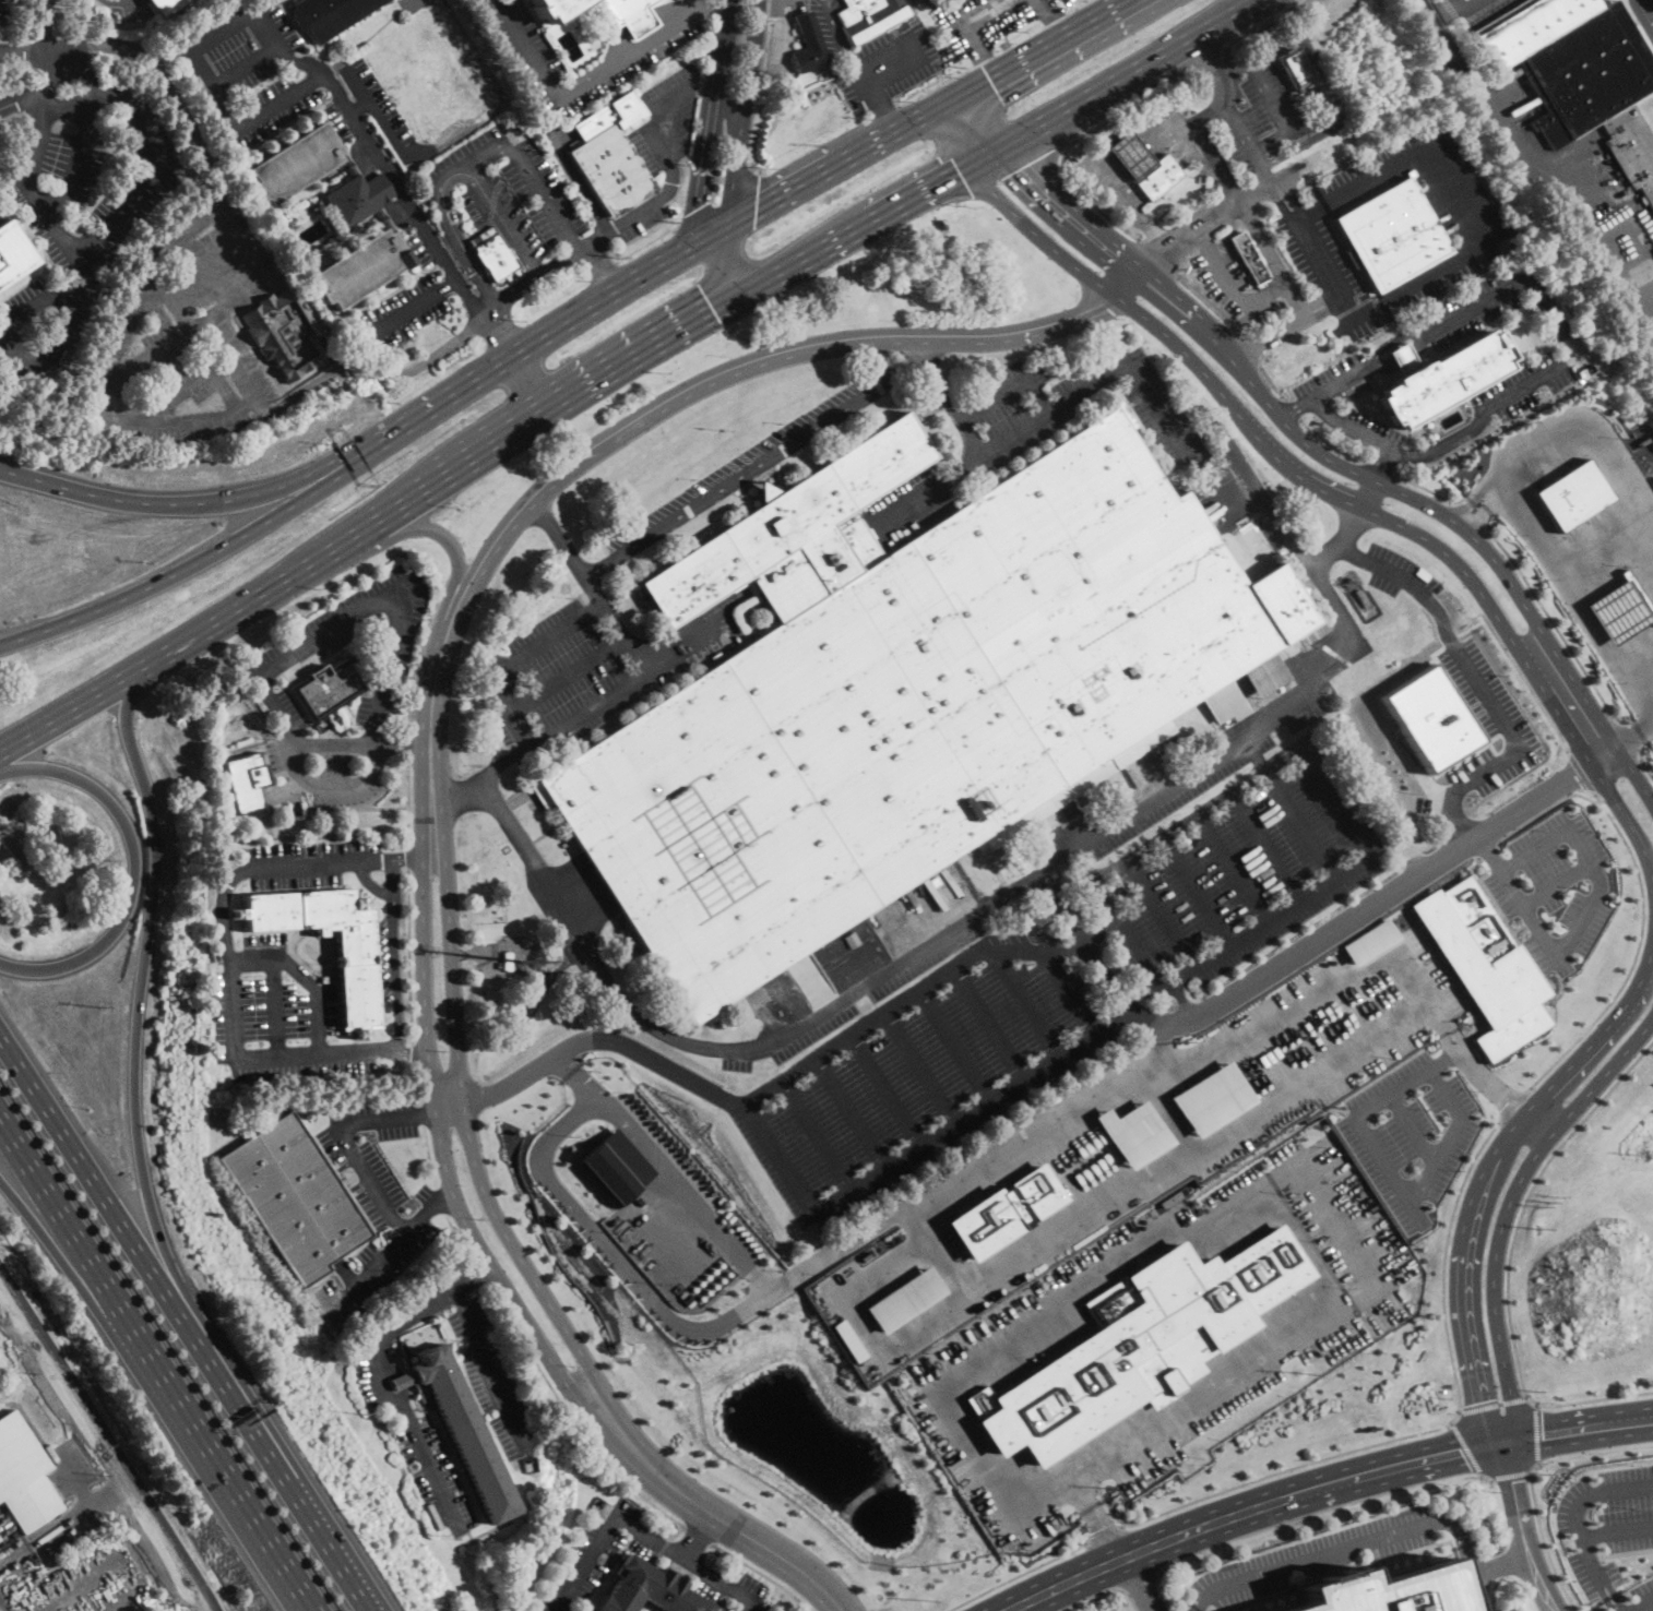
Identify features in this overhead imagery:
road: (120, 0)
building: (962, 0)
parking lot: (1640, 1)
road: (1123, 2)
road: (1651, 2)
road: (938, 4)
road: (1045, 4)
building: (165, 5)
building: (555, 8)
road: (704, 8)
road: (1463, 8)
parking lot: (1479, 8)
parking lot: (8, 10)
road: (979, 10)
parking lot: (128, 11)
building: (1447, 12)
building: (630, 14)
road: (1446, 14)
building: (330, 15)
building: (871, 17)
road: (1230, 20)
parking lot: (984, 21)
road: (1057, 24)
road: (641, 26)
road: (1264, 27)
road: (46, 32)
road: (75, 32)
road: (841, 39)
road: (974, 40)
building: (807, 44)
road: (29, 52)
parking lot: (634, 53)
parking lot: (879, 57)
road: (297, 61)
road: (1209, 62)
road: (890, 63)
road: (246, 65)
road: (1018, 69)
building: (1296, 69)
road: (81, 71)
parking lot: (260, 75)
building: (1582, 75)
road: (48, 76)
road: (707, 76)
road: (581, 83)
traffic signals: (992, 84)
road: (164, 89)
road: (1331, 89)
road: (1093, 97)
road: (221, 102)
road: (882, 103)
building: (1321, 104)
parking lot: (377, 105)
parking lot: (1270, 106)
road: (1123, 112)
road: (1496, 115)
road: (709, 118)
road: (744, 118)
road: (1009, 119)
road: (468, 123)
road: (1286, 124)
road: (971, 130)
building: (1417, 132)
parking lot: (662, 146)
road: (153, 148)
parking lot: (1239, 150)
road: (940, 151)
building: (1130, 155)
gas station: (1130, 155)
building: (610, 156)
road: (1097, 156)
road: (81, 157)
road: (525, 163)
road: (669, 163)
traffic signals: (1023, 165)
road: (1263, 170)
traffic signals: (962, 171)
parking lot: (1370, 172)
road: (448, 174)
road: (580, 177)
road: (1226, 177)
building: (1157, 178)
road: (806, 181)
road: (1018, 182)
road: (379, 186)
road: (397, 187)
parking lot: (503, 188)
road: (32, 191)
road: (718, 201)
road: (1093, 204)
parking lot: (76, 206)
road: (1067, 206)
traffic signals: (698, 207)
traffic signals: (757, 210)
building: (335, 211)
road: (1223, 215)
building: (290, 222)
road: (865, 225)
parking lot: (1307, 235)
building: (1392, 235)
road: (751, 239)
road: (242, 246)
parking lot: (427, 247)
building: (12, 253)
building: (493, 253)
building: (1248, 259)
road: (1158, 260)
road: (728, 263)
road: (210, 265)
road: (604, 267)
road: (550, 268)
road: (702, 275)
road: (1627, 279)
road: (1099, 283)
parking lot: (1233, 285)
road: (463, 288)
road: (1233, 288)
road: (170, 295)
road: (409, 307)
road: (1211, 307)
road: (1187, 308)
traffic signals: (715, 311)
parking lot: (401, 314)
road: (1357, 318)
road: (1291, 330)
road: (501, 331)
parking lot: (188, 334)
building: (286, 334)
road: (180, 336)
road: (1568, 342)
road: (530, 343)
road: (921, 347)
road: (1251, 351)
road: (47, 354)
road: (1406, 361)
road: (740, 366)
road: (237, 367)
road: (103, 372)
road: (382, 372)
building: (1440, 375)
road: (1272, 384)
road: (179, 392)
road: (994, 398)
road: (1053, 404)
road: (518, 405)
road: (1294, 407)
road: (1292, 410)
parking lot: (1067, 414)
road: (1591, 441)
building: (1640, 441)
road: (1332, 445)
parking lot: (752, 461)
road: (1284, 464)
road: (1379, 464)
road: (751, 468)
road: (1382, 469)
road: (926, 486)
building: (761, 488)
road: (1425, 488)
road: (1364, 492)
building: (1571, 493)
parking lot: (907, 505)
road: (1482, 505)
road: (176, 506)
road: (1270, 512)
road: (1472, 518)
road: (371, 524)
road: (439, 532)
road: (558, 536)
road: (1477, 542)
road: (1605, 552)
road: (182, 568)
parking lot: (1396, 571)
building: (1360, 598)
road: (1571, 601)
building: (1620, 609)
road: (1555, 624)
parking lot: (309, 644)
road: (420, 649)
road: (1531, 667)
parking lot: (587, 668)
road: (564, 672)
road: (1478, 682)
building: (330, 687)
road: (1560, 688)
road: (383, 692)
building: (906, 694)
road: (1534, 699)
building: (1431, 715)
road: (546, 731)
road: (1634, 735)
road: (1628, 739)
road: (334, 743)
road: (403, 743)
road: (408, 744)
road: (431, 751)
parking lot: (332, 764)
road: (1648, 769)
road: (1581, 773)
road: (481, 774)
building: (246, 779)
road: (1585, 799)
road: (408, 802)
road: (1345, 812)
road: (1301, 822)
road: (1264, 846)
road: (1486, 849)
road: (1586, 857)
road: (408, 859)
road: (412, 859)
parking lot: (309, 861)
road: (1497, 867)
road: (1228, 869)
road: (135, 870)
road: (1555, 882)
road: (371, 883)
parking lot: (1554, 886)
road: (224, 891)
road: (1196, 891)
road: (1383, 893)
road: (1061, 912)
road: (1529, 914)
building: (1037, 916)
road: (1163, 916)
road: (953, 926)
building: (1369, 940)
building: (523, 948)
parking lot: (389, 953)
road: (1638, 953)
road: (1651, 955)
road: (409, 957)
building: (823, 957)
building: (355, 958)
road: (394, 958)
building: (507, 962)
building: (1484, 963)
building: (811, 964)
road: (306, 978)
building: (324, 979)
parking lot: (1050, 991)
road: (1065, 993)
road: (1028, 1004)
road: (275, 1010)
parking lot: (280, 1015)
road: (987, 1025)
road: (138, 1027)
road: (954, 1047)
road: (414, 1054)
road: (416, 1054)
road: (319, 1059)
road: (799, 1070)
road: (918, 1070)
road: (419, 1086)
road: (884, 1091)
building: (1211, 1097)
road: (1513, 1103)
road: (421, 1114)
road: (441, 1114)
road: (851, 1114)
road: (1412, 1127)
building: (1133, 1132)
parking lot: (1411, 1132)
road: (818, 1135)
road: (472, 1146)
road: (919, 1146)
road: (443, 1155)
road: (429, 1157)
road: (357, 1161)
building: (611, 1166)
road: (975, 1167)
road: (1158, 1173)
road: (1390, 1177)
road: (1478, 1184)
road: (683, 1193)
parking lot: (373, 1197)
building: (294, 1198)
road: (1526, 1200)
road: (441, 1202)
road: (443, 1203)
building: (1004, 1210)
road: (1508, 1210)
road: (1328, 1213)
road: (1208, 1214)
road: (457, 1237)
road: (85, 1249)
road: (1444, 1262)
road: (478, 1272)
road: (371, 1274)
road: (472, 1277)
road: (81, 1287)
building: (902, 1298)
road: (186, 1323)
building: (1141, 1342)
building: (404, 1348)
road: (486, 1365)
road: (56, 1381)
road: (385, 1389)
traffic signals: (1474, 1401)
road: (1589, 1401)
road: (1491, 1406)
parking lot: (503, 1407)
road: (572, 1419)
traffic signals: (1542, 1423)
building: (461, 1428)
road: (1537, 1433)
road: (108, 1439)
road: (1579, 1440)
road: (1467, 1449)
road: (1595, 1453)
traffic signals: (1465, 1459)
building: (24, 1476)
road: (1271, 1476)
road: (1509, 1476)
road: (1307, 1478)
traffic signals: (1514, 1480)
road: (122, 1487)
road: (1596, 1493)
road: (242, 1496)
road: (85, 1509)
road: (1093, 1514)
road: (1263, 1515)
road: (1323, 1515)
road: (714, 1516)
parking lot: (1607, 1520)
road: (1616, 1530)
road: (641, 1531)
road: (1525, 1532)
road: (1104, 1534)
road: (698, 1535)
road: (698, 1536)
road: (1542, 1538)
road: (1343, 1548)
parking lot: (583, 1553)
road: (165, 1554)
road: (1626, 1554)
parking lot: (1334, 1555)
road: (1500, 1564)
road: (761, 1575)
road: (1598, 1575)
road: (1018, 1577)
road: (1135, 1578)
road: (1140, 1585)
building: (649, 1589)
building: (1389, 1590)
parking lot: (1641, 1590)
road: (1477, 1591)
road: (1107, 1594)
road: (1640, 1604)
road: (198, 1609)

